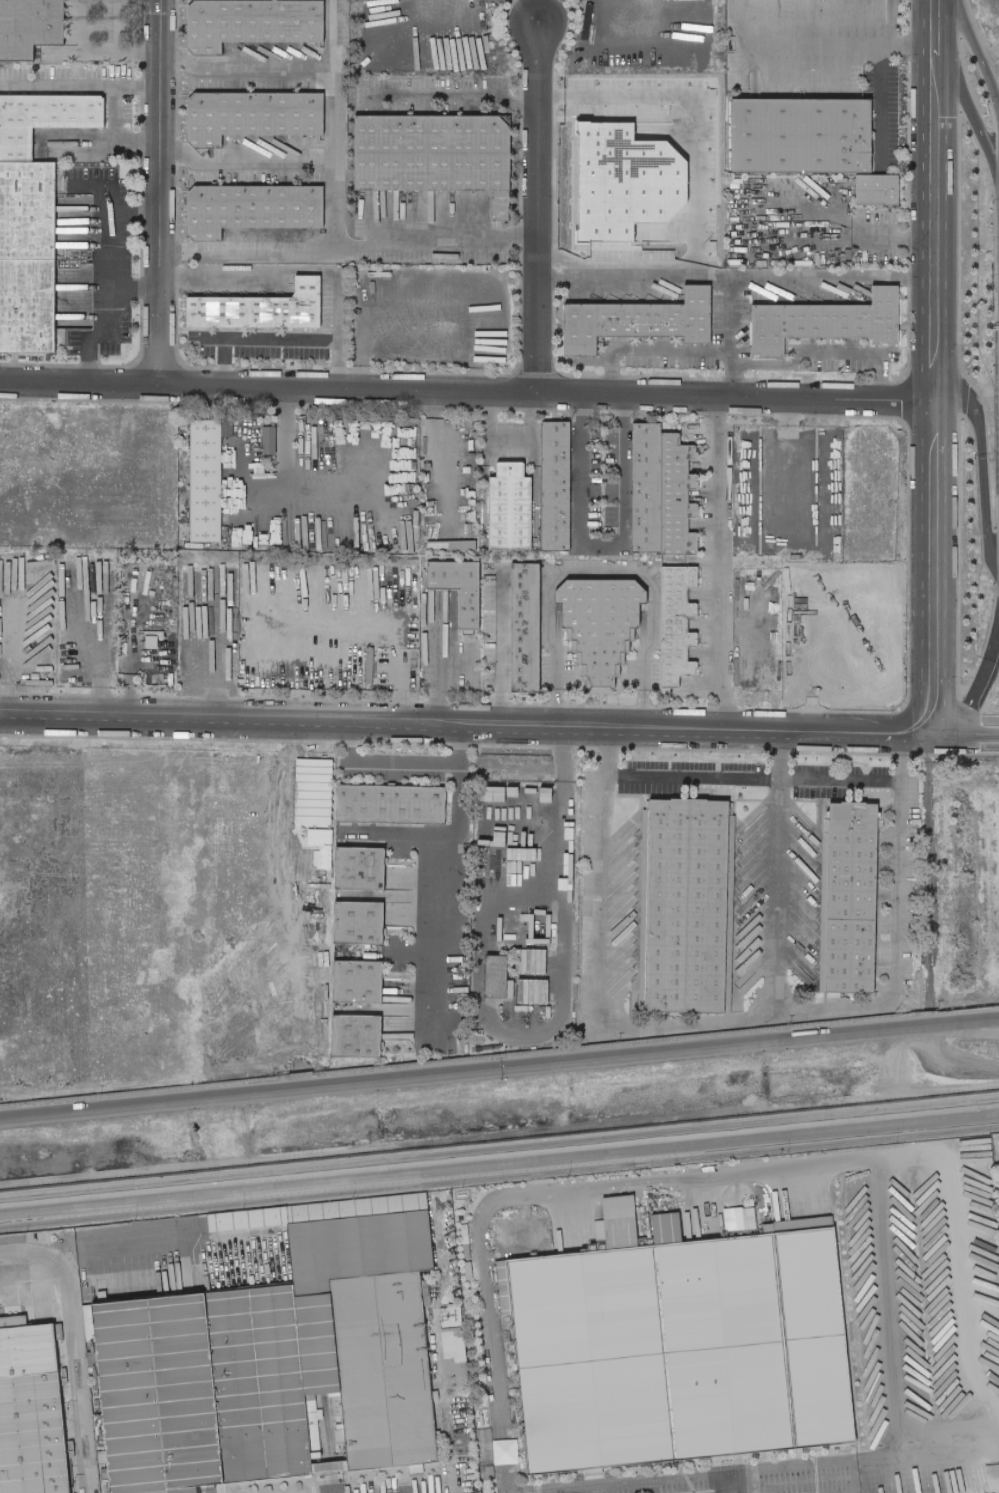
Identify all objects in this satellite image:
road: (932, 18)
building: (250, 21)
building: (28, 26)
road: (814, 47)
road: (104, 57)
road: (977, 59)
road: (254, 71)
road: (102, 85)
road: (138, 87)
road: (690, 105)
road: (880, 108)
road: (966, 109)
building: (249, 112)
building: (43, 116)
building: (801, 139)
building: (435, 153)
road: (244, 167)
building: (876, 190)
road: (162, 192)
road: (534, 205)
building: (249, 209)
building: (26, 211)
road: (113, 213)
road: (332, 213)
road: (998, 231)
road: (894, 235)
road: (433, 255)
road: (305, 270)
road: (831, 273)
building: (26, 306)
building: (261, 307)
road: (730, 314)
road: (112, 318)
building: (638, 325)
building: (826, 326)
road: (393, 336)
road: (274, 345)
road: (816, 354)
road: (653, 364)
road: (221, 365)
road: (730, 376)
road: (932, 385)
road: (466, 391)
building: (270, 440)
road: (507, 440)
road: (435, 452)
road: (980, 469)
building: (207, 481)
road: (282, 486)
building: (558, 486)
building: (677, 498)
building: (509, 515)
building: (465, 546)
road: (598, 547)
road: (717, 564)
road: (598, 573)
building: (462, 589)
building: (528, 628)
building: (676, 644)
building: (600, 645)
road: (497, 655)
road: (13, 661)
road: (437, 676)
road: (979, 679)
road: (230, 721)
road: (479, 726)
road: (713, 730)
road: (965, 735)
road: (460, 745)
road: (387, 761)
road: (751, 777)
road: (555, 799)
building: (393, 803)
building: (363, 867)
building: (853, 897)
road: (436, 898)
building: (686, 906)
building: (362, 921)
road: (595, 963)
building: (498, 978)
building: (360, 980)
building: (530, 990)
road: (823, 1006)
road: (483, 1019)
building: (359, 1035)
road: (499, 1069)
road: (499, 1088)
road: (499, 1132)
road: (499, 1164)
road: (694, 1175)
building: (747, 1203)
building: (618, 1207)
building: (749, 1211)
building: (247, 1218)
building: (202, 1222)
building: (599, 1232)
building: (464, 1234)
building: (466, 1251)
building: (348, 1266)
building: (467, 1270)
building: (503, 1288)
building: (443, 1311)
building: (454, 1315)
building: (12, 1321)
building: (444, 1321)
building: (507, 1321)
building: (57, 1331)
building: (455, 1331)
building: (59, 1342)
building: (510, 1344)
road: (73, 1347)
building: (452, 1347)
building: (682, 1348)
building: (94, 1359)
building: (512, 1360)
building: (384, 1365)
building: (455, 1373)
building: (514, 1375)
building: (201, 1383)
building: (516, 1383)
building: (334, 1394)
building: (334, 1406)
building: (517, 1413)
building: (319, 1414)
building: (31, 1416)
building: (341, 1419)
building: (481, 1420)
building: (339, 1426)
building: (328, 1434)
building: (339, 1435)
road: (963, 1435)
building: (343, 1443)
building: (315, 1454)
building: (328, 1467)
building: (415, 1468)
building: (481, 1469)
road: (736, 1470)
building: (487, 1472)
building: (592, 1472)
road: (852, 1478)
road: (747, 1480)
road: (724, 1482)
road: (447, 1483)
road: (581, 1488)
road: (750, 1492)

